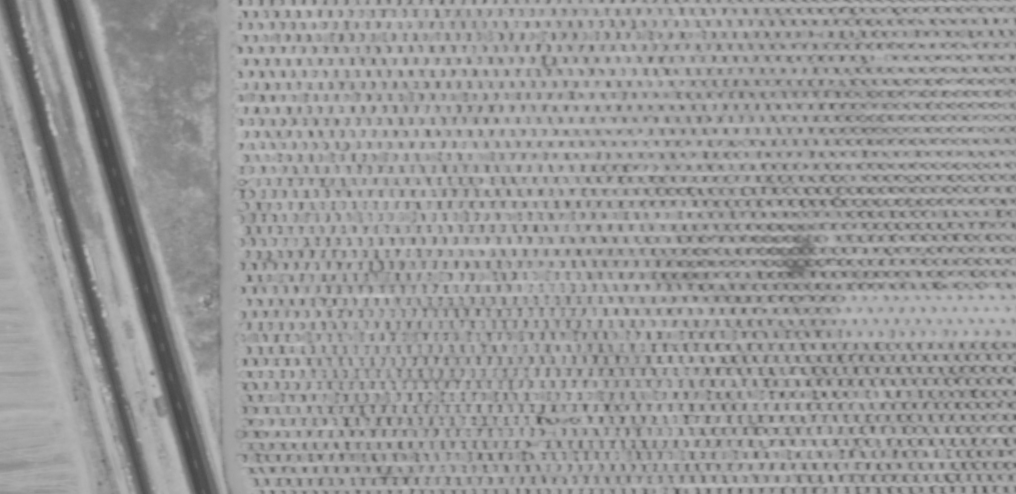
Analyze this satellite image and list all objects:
crop: (612, 246)
railway: (70, 247)
road: (134, 247)

